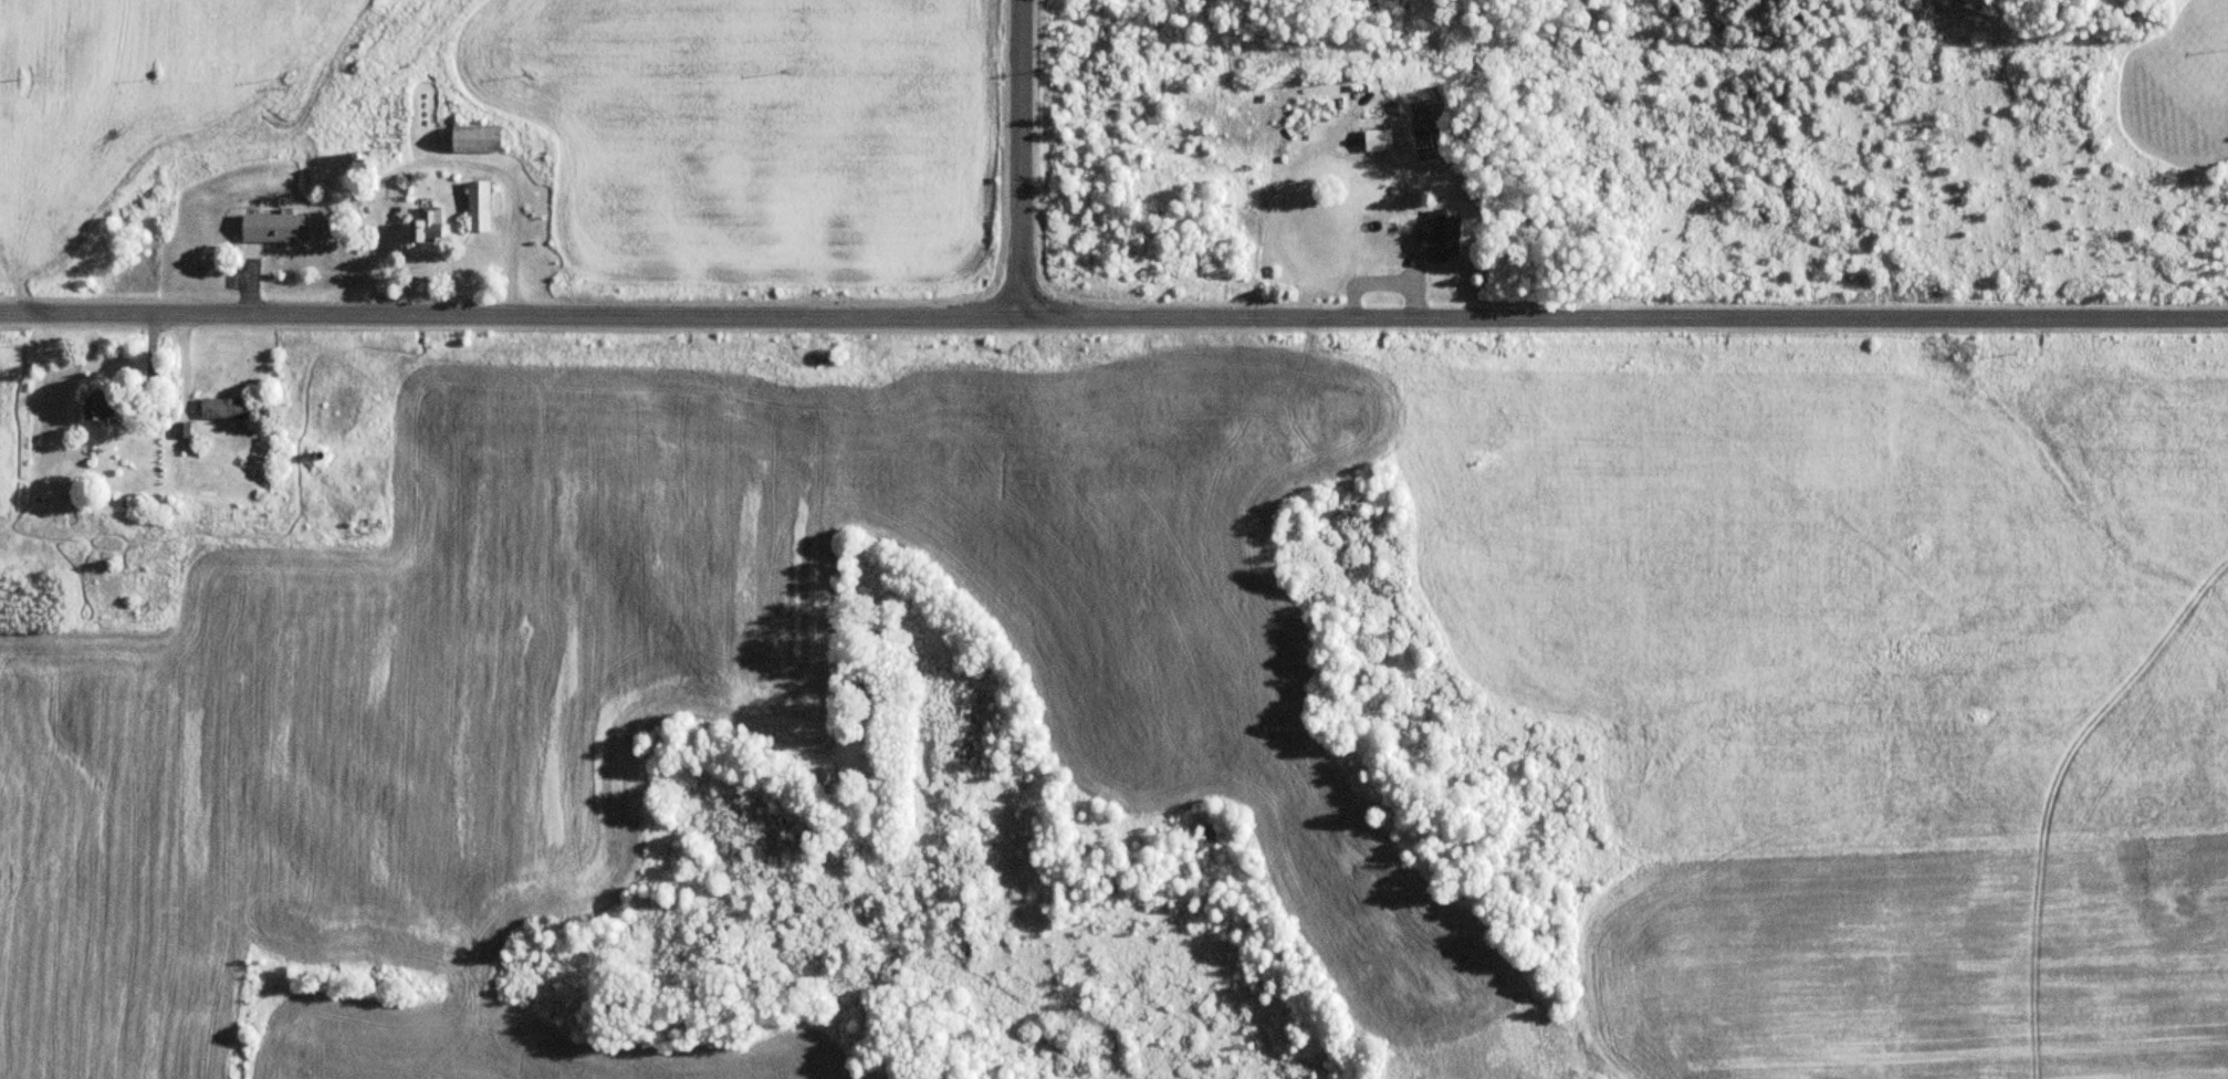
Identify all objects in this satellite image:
building: (372, 129)
building: (469, 139)
building: (1373, 142)
road: (1016, 158)
building: (475, 207)
building: (422, 228)
building: (270, 229)
building: (1437, 239)
road: (1113, 316)
building: (220, 409)
building: (98, 411)
airport: (1934, 974)

